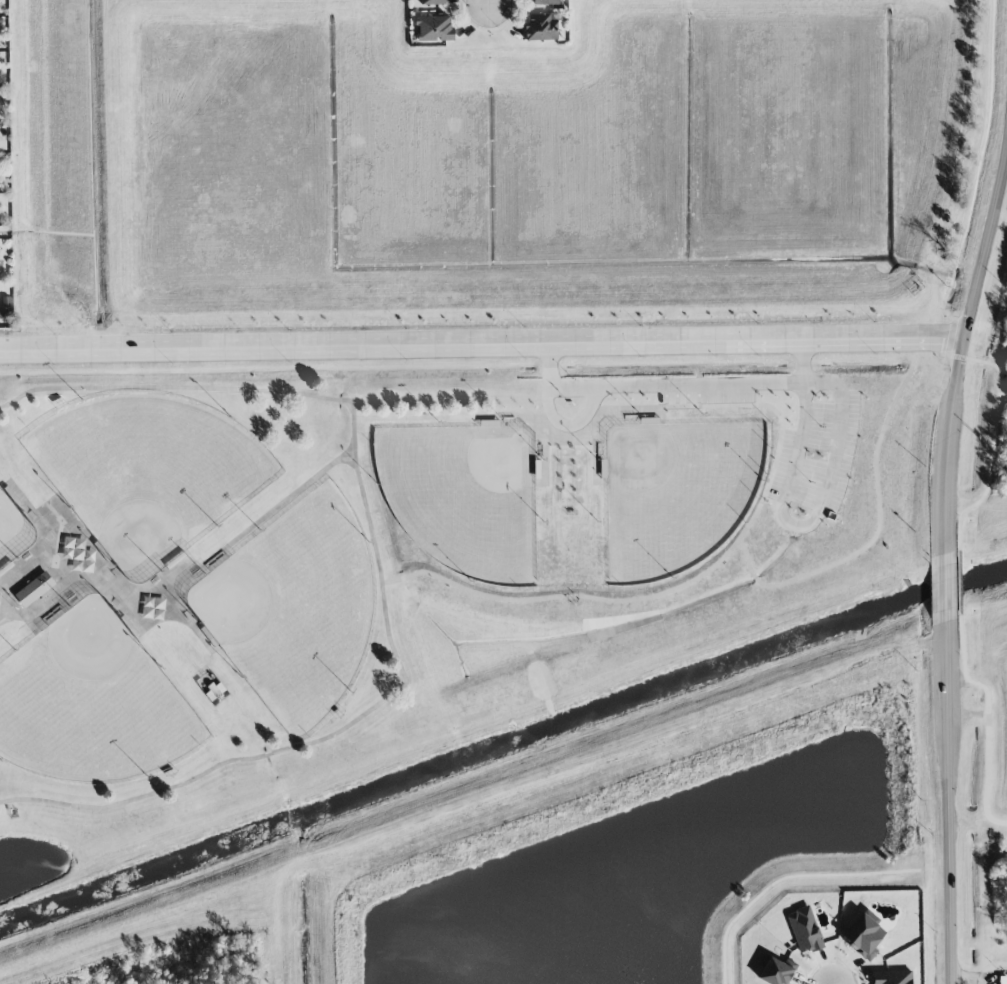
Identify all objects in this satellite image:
building: (433, 2)
building: (545, 2)
road: (488, 3)
building: (540, 27)
building: (433, 28)
road: (482, 344)
road: (960, 346)
road: (176, 385)
road: (678, 385)
road: (813, 522)
park: (404, 554)
park: (166, 580)
road: (943, 588)
building: (34, 589)
road: (340, 730)
road: (947, 802)
building: (804, 930)
building: (864, 936)
building: (773, 970)
road: (968, 977)
building: (1003, 979)

